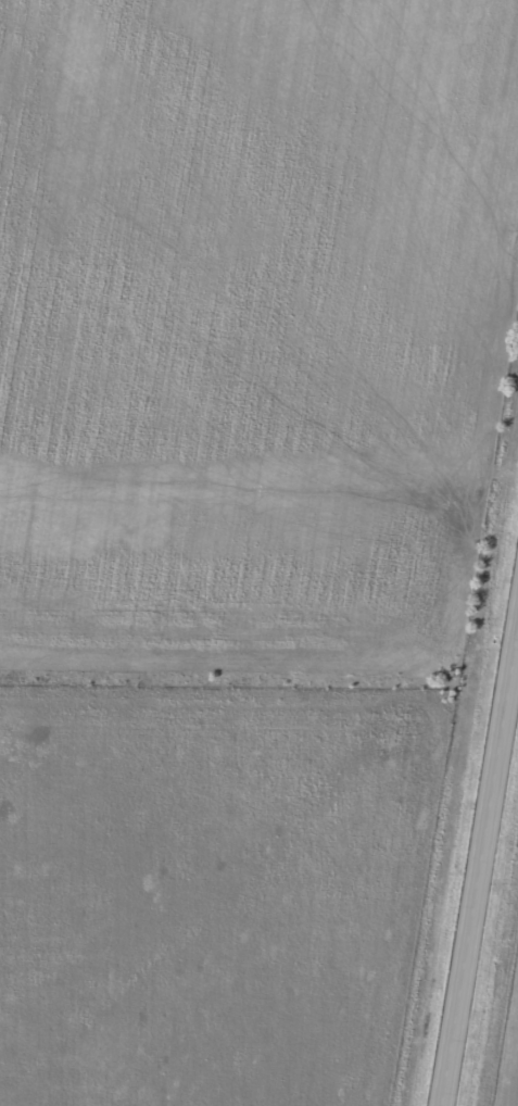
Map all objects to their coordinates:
road: (481, 881)

